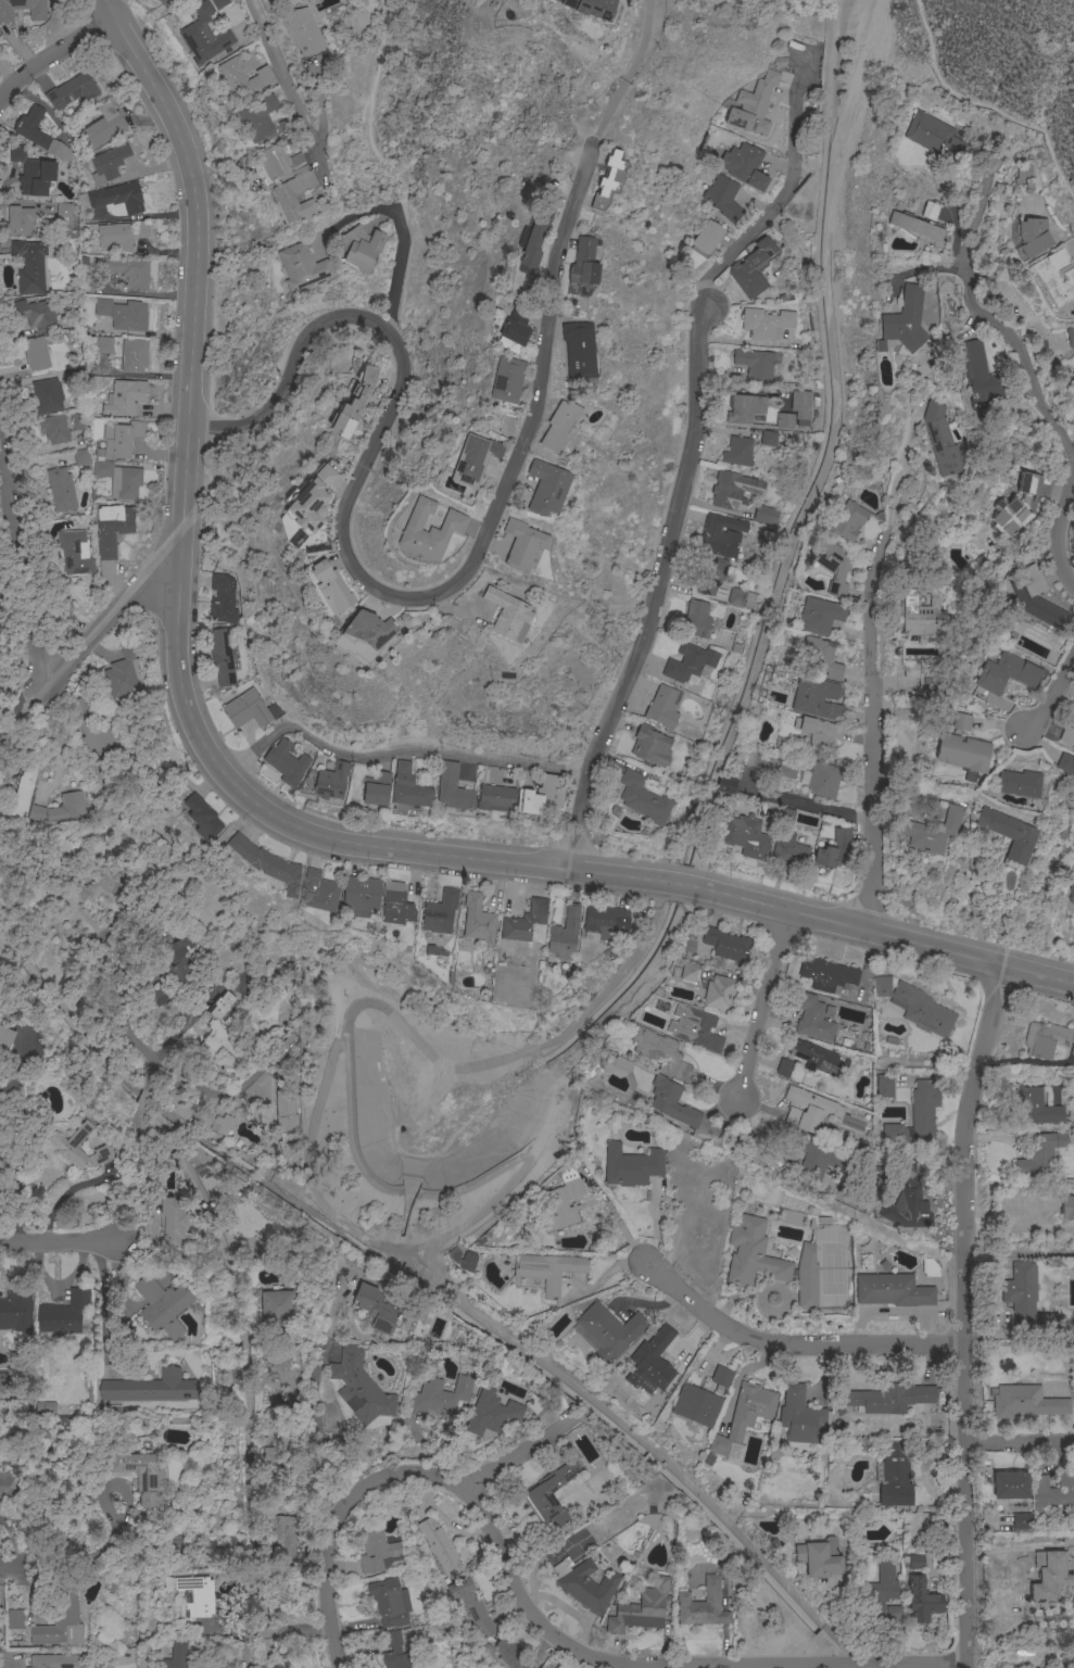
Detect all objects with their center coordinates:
building: (167, 2)
building: (219, 3)
building: (590, 8)
building: (38, 15)
building: (303, 31)
building: (203, 36)
road: (52, 56)
road: (631, 72)
building: (262, 79)
road: (287, 86)
building: (72, 91)
road: (984, 104)
road: (848, 105)
building: (754, 106)
building: (258, 118)
building: (286, 125)
building: (31, 127)
building: (102, 127)
building: (933, 136)
building: (60, 152)
building: (108, 163)
building: (744, 166)
road: (383, 170)
building: (29, 173)
building: (1024, 177)
building: (287, 180)
building: (608, 180)
building: (118, 198)
building: (723, 198)
road: (776, 200)
building: (64, 211)
building: (931, 211)
road: (976, 213)
building: (18, 222)
building: (918, 228)
building: (123, 236)
building: (1033, 237)
building: (534, 238)
building: (708, 238)
building: (362, 249)
road: (397, 258)
building: (583, 264)
building: (29, 266)
building: (301, 267)
building: (753, 268)
building: (125, 271)
building: (1054, 277)
building: (103, 307)
building: (35, 314)
building: (129, 316)
building: (905, 320)
building: (766, 324)
building: (514, 329)
building: (1070, 337)
building: (104, 345)
building: (578, 350)
building: (36, 353)
building: (134, 356)
road: (1023, 357)
building: (755, 364)
building: (978, 374)
building: (1072, 374)
building: (506, 380)
building: (47, 396)
building: (125, 397)
building: (353, 404)
building: (800, 407)
building: (745, 408)
building: (784, 421)
building: (77, 422)
building: (558, 426)
building: (54, 429)
building: (121, 438)
building: (768, 439)
building: (940, 439)
building: (737, 452)
building: (79, 457)
building: (473, 460)
road: (898, 468)
building: (119, 479)
building: (546, 488)
building: (61, 490)
building: (734, 491)
building: (309, 502)
building: (1013, 508)
building: (766, 516)
building: (848, 521)
building: (429, 530)
building: (112, 534)
building: (721, 535)
road: (1059, 538)
building: (521, 544)
building: (75, 553)
building: (835, 568)
building: (708, 574)
building: (331, 589)
road: (376, 592)
road: (658, 592)
building: (741, 598)
building: (223, 601)
building: (1034, 602)
building: (507, 615)
building: (821, 616)
building: (923, 617)
building: (697, 620)
building: (367, 630)
building: (823, 657)
building: (224, 658)
building: (688, 662)
building: (921, 672)
building: (123, 674)
building: (1003, 675)
road: (35, 678)
road: (1053, 691)
building: (817, 698)
building: (83, 703)
building: (664, 708)
building: (250, 710)
building: (1072, 720)
building: (961, 722)
road: (873, 729)
building: (94, 734)
building: (819, 735)
building: (1066, 736)
building: (649, 745)
road: (397, 751)
building: (963, 753)
building: (288, 762)
building: (1065, 764)
building: (788, 769)
building: (824, 780)
building: (331, 782)
building: (1019, 784)
building: (724, 786)
building: (376, 788)
building: (408, 788)
building: (453, 789)
building: (17, 797)
building: (542, 798)
building: (495, 799)
building: (643, 799)
road: (252, 801)
road: (814, 805)
building: (59, 810)
building: (201, 818)
building: (786, 818)
building: (932, 832)
building: (1009, 834)
building: (746, 837)
building: (786, 849)
building: (834, 852)
building: (266, 863)
building: (320, 892)
building: (1071, 894)
building: (361, 895)
building: (395, 906)
building: (440, 913)
building: (478, 920)
building: (605, 922)
building: (527, 924)
building: (564, 935)
building: (726, 945)
building: (688, 947)
building: (179, 961)
building: (688, 972)
building: (826, 975)
building: (882, 986)
building: (720, 994)
building: (156, 997)
building: (226, 1002)
road: (765, 1006)
building: (922, 1010)
building: (811, 1018)
road: (186, 1026)
building: (697, 1031)
building: (217, 1034)
building: (5, 1036)
building: (1044, 1039)
building: (659, 1052)
building: (814, 1058)
building: (290, 1060)
building: (621, 1064)
building: (785, 1069)
building: (885, 1086)
road: (144, 1101)
building: (672, 1102)
building: (1037, 1108)
building: (808, 1109)
building: (917, 1121)
building: (286, 1122)
building: (220, 1123)
building: (64, 1146)
building: (1043, 1153)
building: (812, 1158)
building: (632, 1166)
road: (161, 1185)
building: (907, 1199)
building: (560, 1201)
building: (1066, 1208)
building: (167, 1216)
building: (792, 1218)
road: (1015, 1227)
road: (58, 1241)
road: (1019, 1254)
building: (467, 1262)
building: (770, 1262)
building: (930, 1267)
building: (548, 1271)
building: (892, 1291)
building: (1025, 1301)
road: (112, 1305)
building: (163, 1305)
building: (277, 1306)
building: (378, 1309)
building: (16, 1310)
building: (63, 1313)
road: (964, 1314)
building: (610, 1330)
road: (793, 1345)
building: (280, 1359)
building: (652, 1363)
building: (722, 1377)
building: (4, 1383)
building: (151, 1388)
building: (359, 1389)
building: (443, 1395)
building: (889, 1399)
building: (1026, 1403)
building: (696, 1406)
building: (45, 1408)
building: (491, 1413)
building: (744, 1416)
building: (801, 1418)
building: (180, 1420)
building: (63, 1423)
road: (316, 1423)
road: (1020, 1442)
building: (41, 1445)
building: (268, 1455)
road: (516, 1458)
building: (140, 1477)
building: (895, 1477)
building: (1010, 1486)
building: (9, 1489)
building: (1052, 1492)
building: (538, 1495)
building: (1021, 1522)
building: (280, 1538)
building: (174, 1540)
building: (439, 1547)
road: (1018, 1547)
building: (378, 1552)
building: (819, 1558)
building: (917, 1563)
road: (5, 1566)
building: (1049, 1576)
building: (584, 1584)
building: (879, 1593)
building: (197, 1595)
building: (921, 1601)
building: (390, 1602)
building: (703, 1606)
building: (470, 1607)
building: (641, 1609)
building: (894, 1616)
road: (534, 1617)
building: (53, 1622)
road: (305, 1626)
road: (267, 1630)
road: (238, 1633)
building: (394, 1652)
building: (508, 1655)
building: (176, 1656)
building: (52, 1661)
building: (563, 1667)

